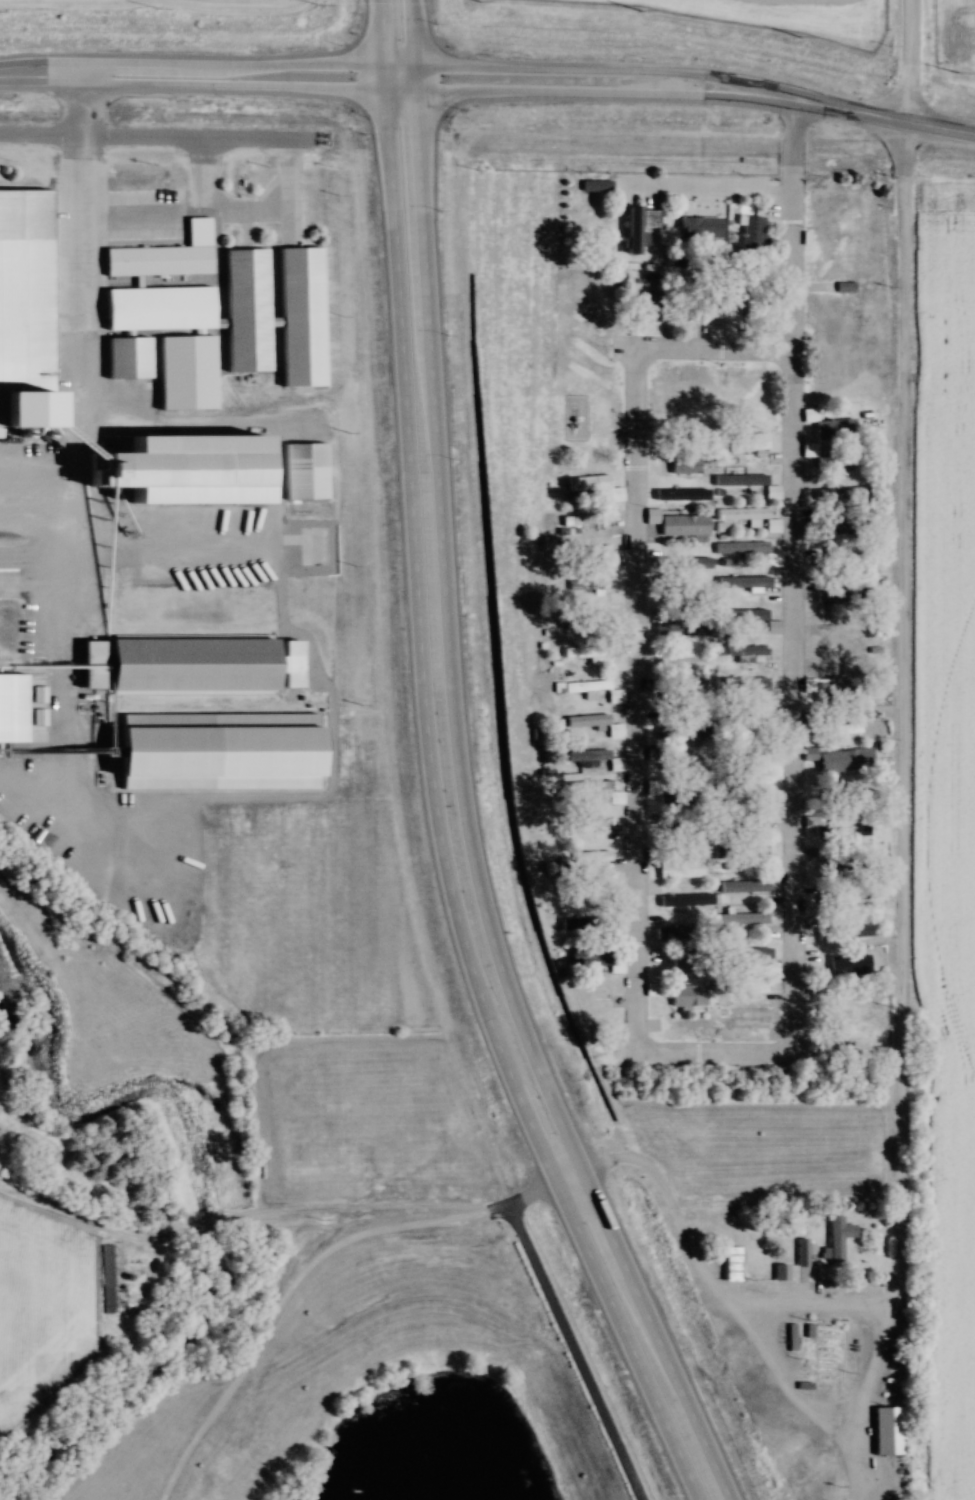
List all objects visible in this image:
crop: (764, 14)
crop: (960, 33)
road: (251, 51)
road: (910, 55)
road: (584, 56)
road: (39, 62)
road: (233, 76)
road: (408, 81)
road: (585, 83)
road: (858, 98)
road: (698, 192)
road: (786, 218)
building: (637, 227)
building: (699, 229)
building: (751, 238)
building: (157, 260)
building: (158, 307)
building: (649, 307)
building: (246, 308)
building: (714, 308)
building: (753, 309)
building: (679, 312)
building: (301, 314)
building: (632, 329)
building: (128, 357)
building: (185, 371)
building: (35, 399)
road: (73, 427)
building: (835, 429)
road: (175, 434)
building: (745, 442)
road: (36, 456)
building: (311, 458)
building: (837, 460)
building: (189, 471)
building: (739, 481)
building: (590, 483)
building: (832, 490)
building: (748, 517)
building: (592, 521)
building: (677, 523)
building: (840, 527)
building: (595, 551)
building: (748, 551)
building: (843, 561)
building: (745, 582)
building: (587, 586)
road: (35, 592)
building: (844, 595)
building: (729, 615)
building: (568, 620)
building: (593, 620)
building: (772, 626)
building: (840, 629)
building: (583, 652)
building: (750, 652)
building: (200, 655)
building: (585, 686)
building: (687, 696)
building: (12, 707)
road: (895, 711)
building: (586, 720)
building: (843, 725)
building: (682, 732)
building: (226, 739)
building: (587, 754)
building: (689, 761)
road: (438, 775)
road: (466, 775)
building: (598, 790)
building: (675, 798)
building: (825, 831)
building: (683, 832)
building: (592, 856)
building: (831, 866)
building: (679, 868)
building: (743, 886)
building: (848, 897)
building: (742, 919)
building: (583, 923)
building: (593, 959)
building: (686, 961)
building: (836, 964)
building: (687, 995)
building: (750, 1020)
road: (628, 1053)
road: (578, 1173)
road: (538, 1192)
building: (836, 1239)
building: (800, 1252)
building: (730, 1263)
building: (777, 1271)
building: (105, 1278)
road: (284, 1288)
crop: (38, 1303)
road: (784, 1307)
building: (790, 1337)
road: (574, 1352)
building: (887, 1430)

